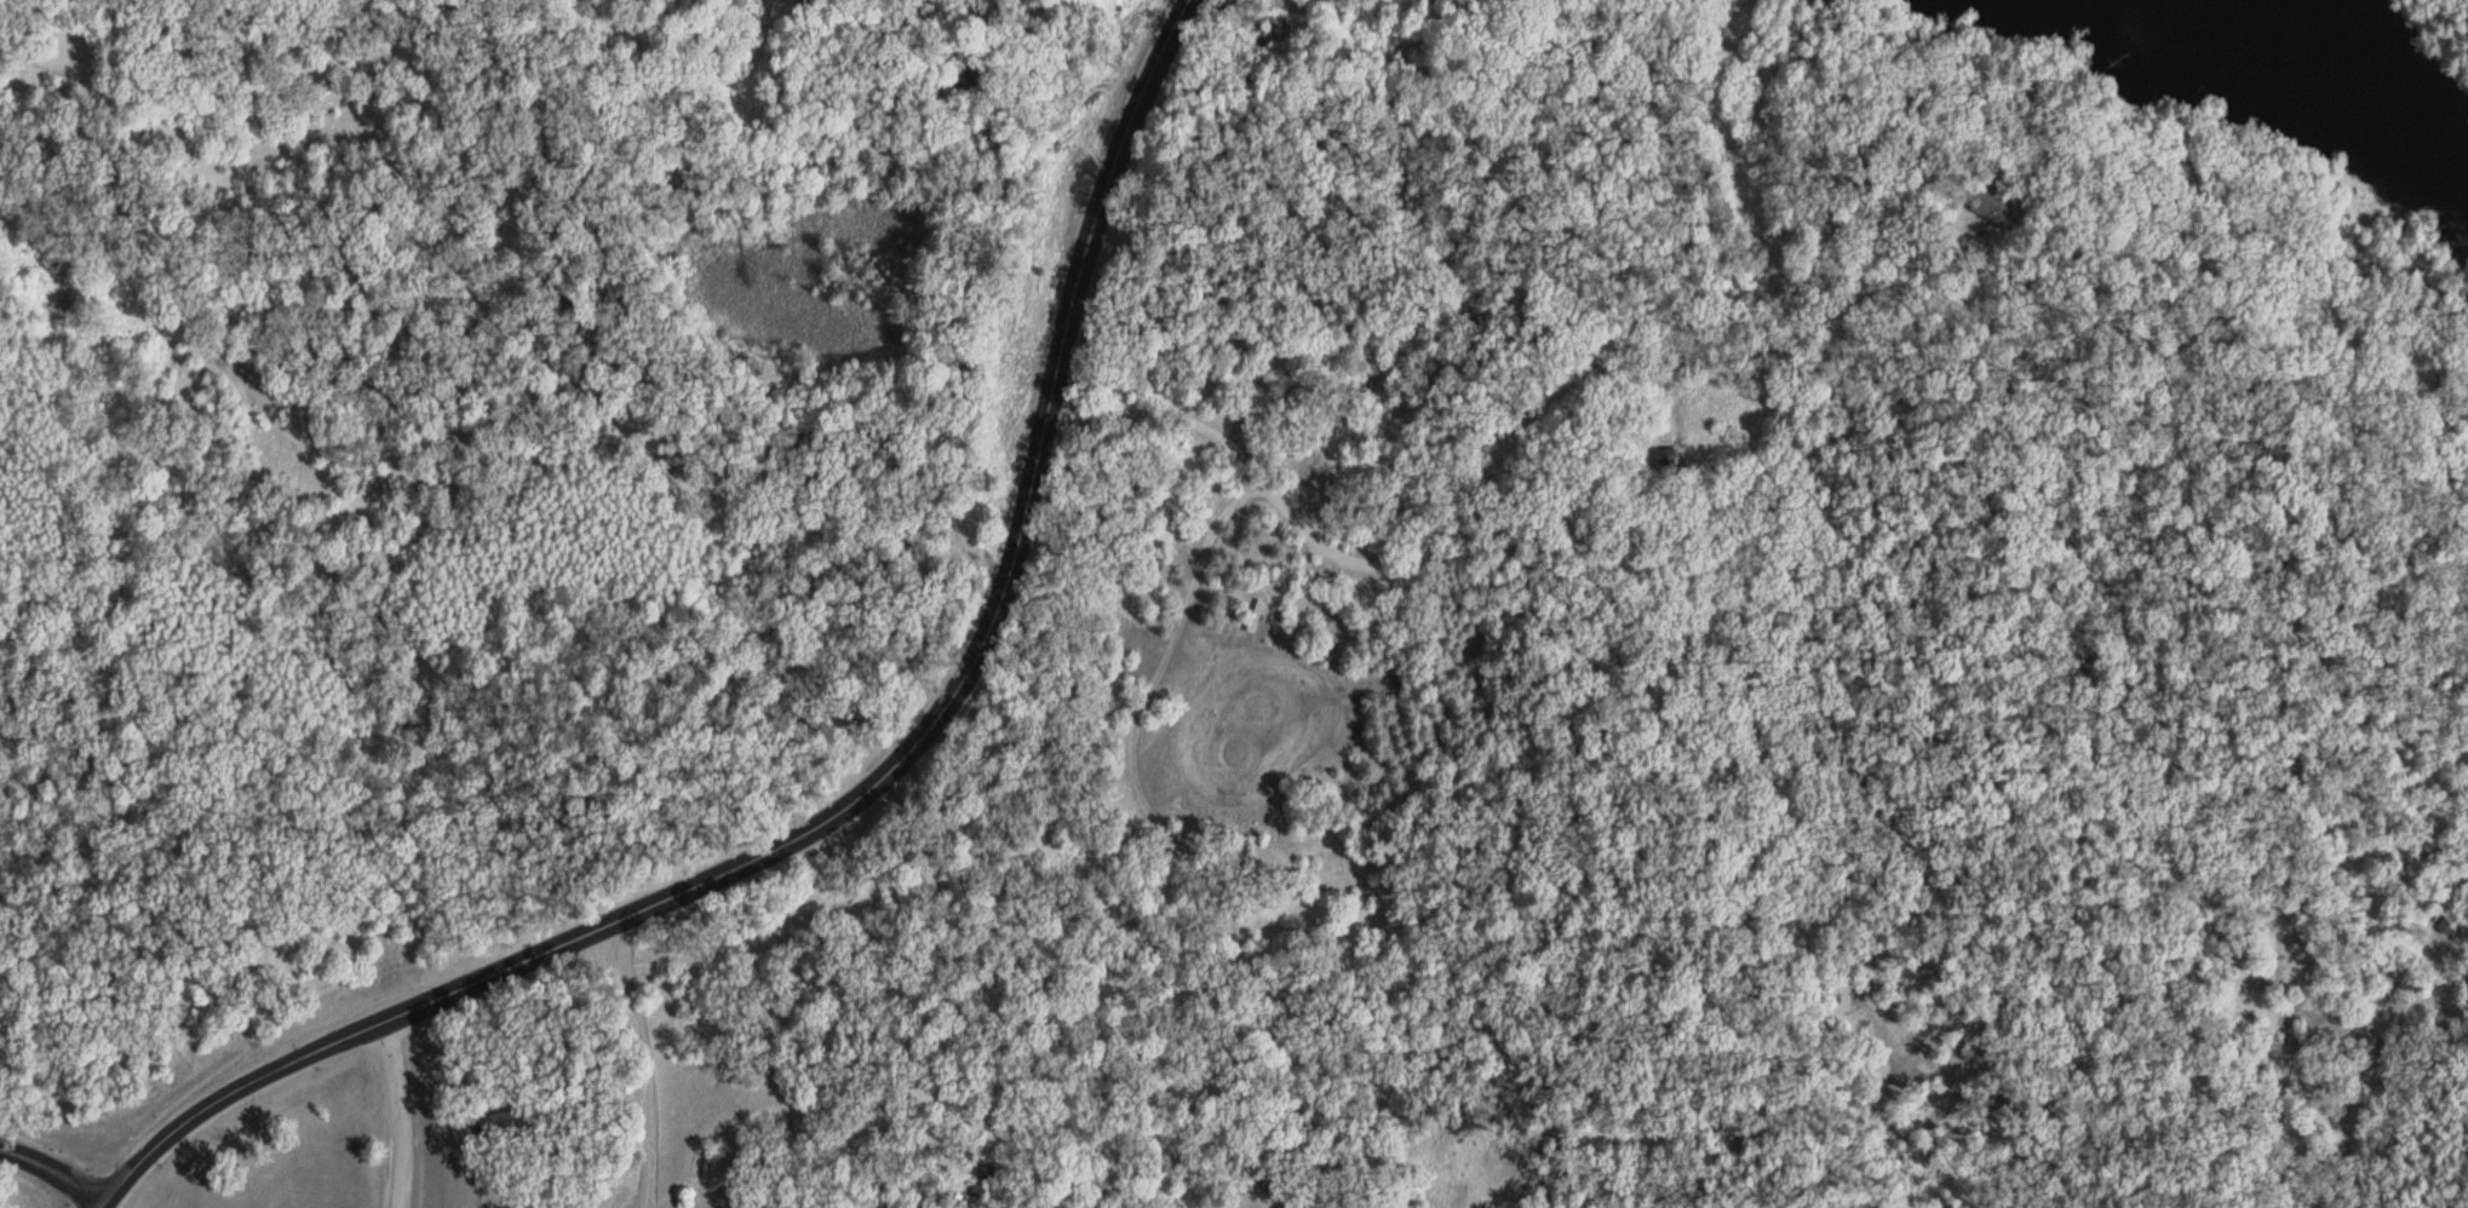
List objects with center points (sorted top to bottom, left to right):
building: (1995, 196)
road: (1985, 263)
building: (2016, 277)
road: (2240, 294)
road: (2447, 333)
road: (2246, 380)
road: (1661, 389)
road: (1534, 399)
building: (1665, 450)
road: (1226, 502)
road: (2342, 528)
road: (311, 596)
road: (1545, 615)
parking lot: (1137, 640)
raceway: (1305, 758)
road: (860, 795)
road: (1441, 795)
road: (791, 930)
road: (643, 1059)
road: (585, 1097)
road: (2193, 1108)
road: (392, 1110)
building: (503, 1116)
road: (440, 1129)
building: (964, 1141)
road: (1256, 1147)
road: (1167, 1154)
building: (941, 1161)
building: (986, 1161)
road: (472, 1164)
road: (50, 1167)
road: (409, 1172)
park: (1473, 1175)
building: (976, 1179)
building: (951, 1187)
park: (1253, 1187)
building: (978, 1192)
building: (877, 1198)

